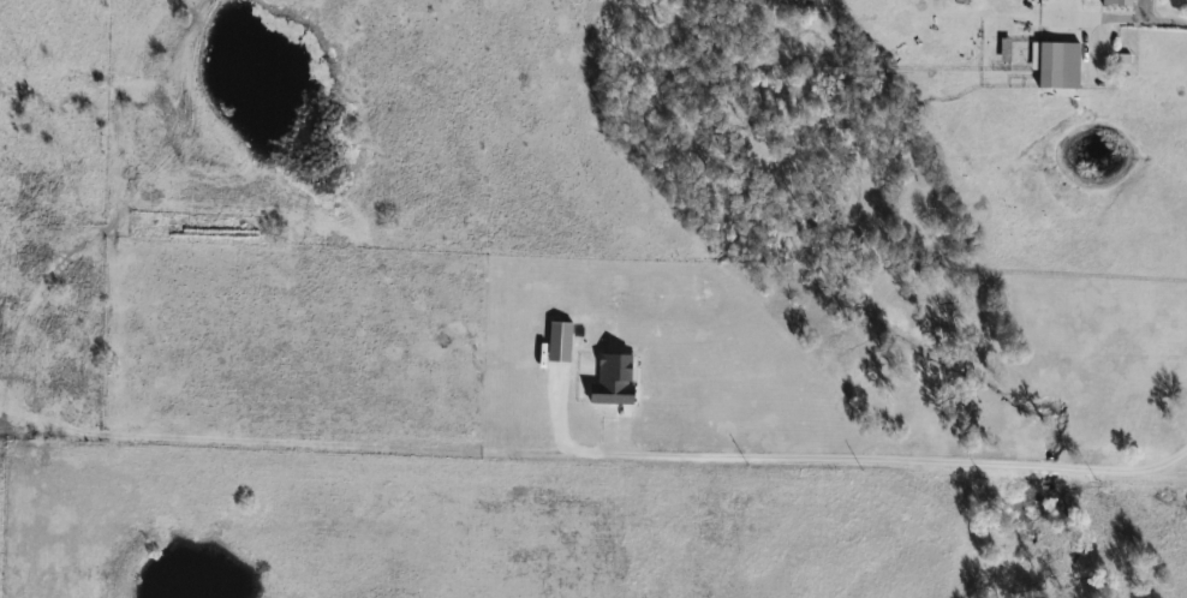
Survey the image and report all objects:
building: (1119, 1)
road: (1090, 14)
building: (1058, 62)
road: (900, 458)

